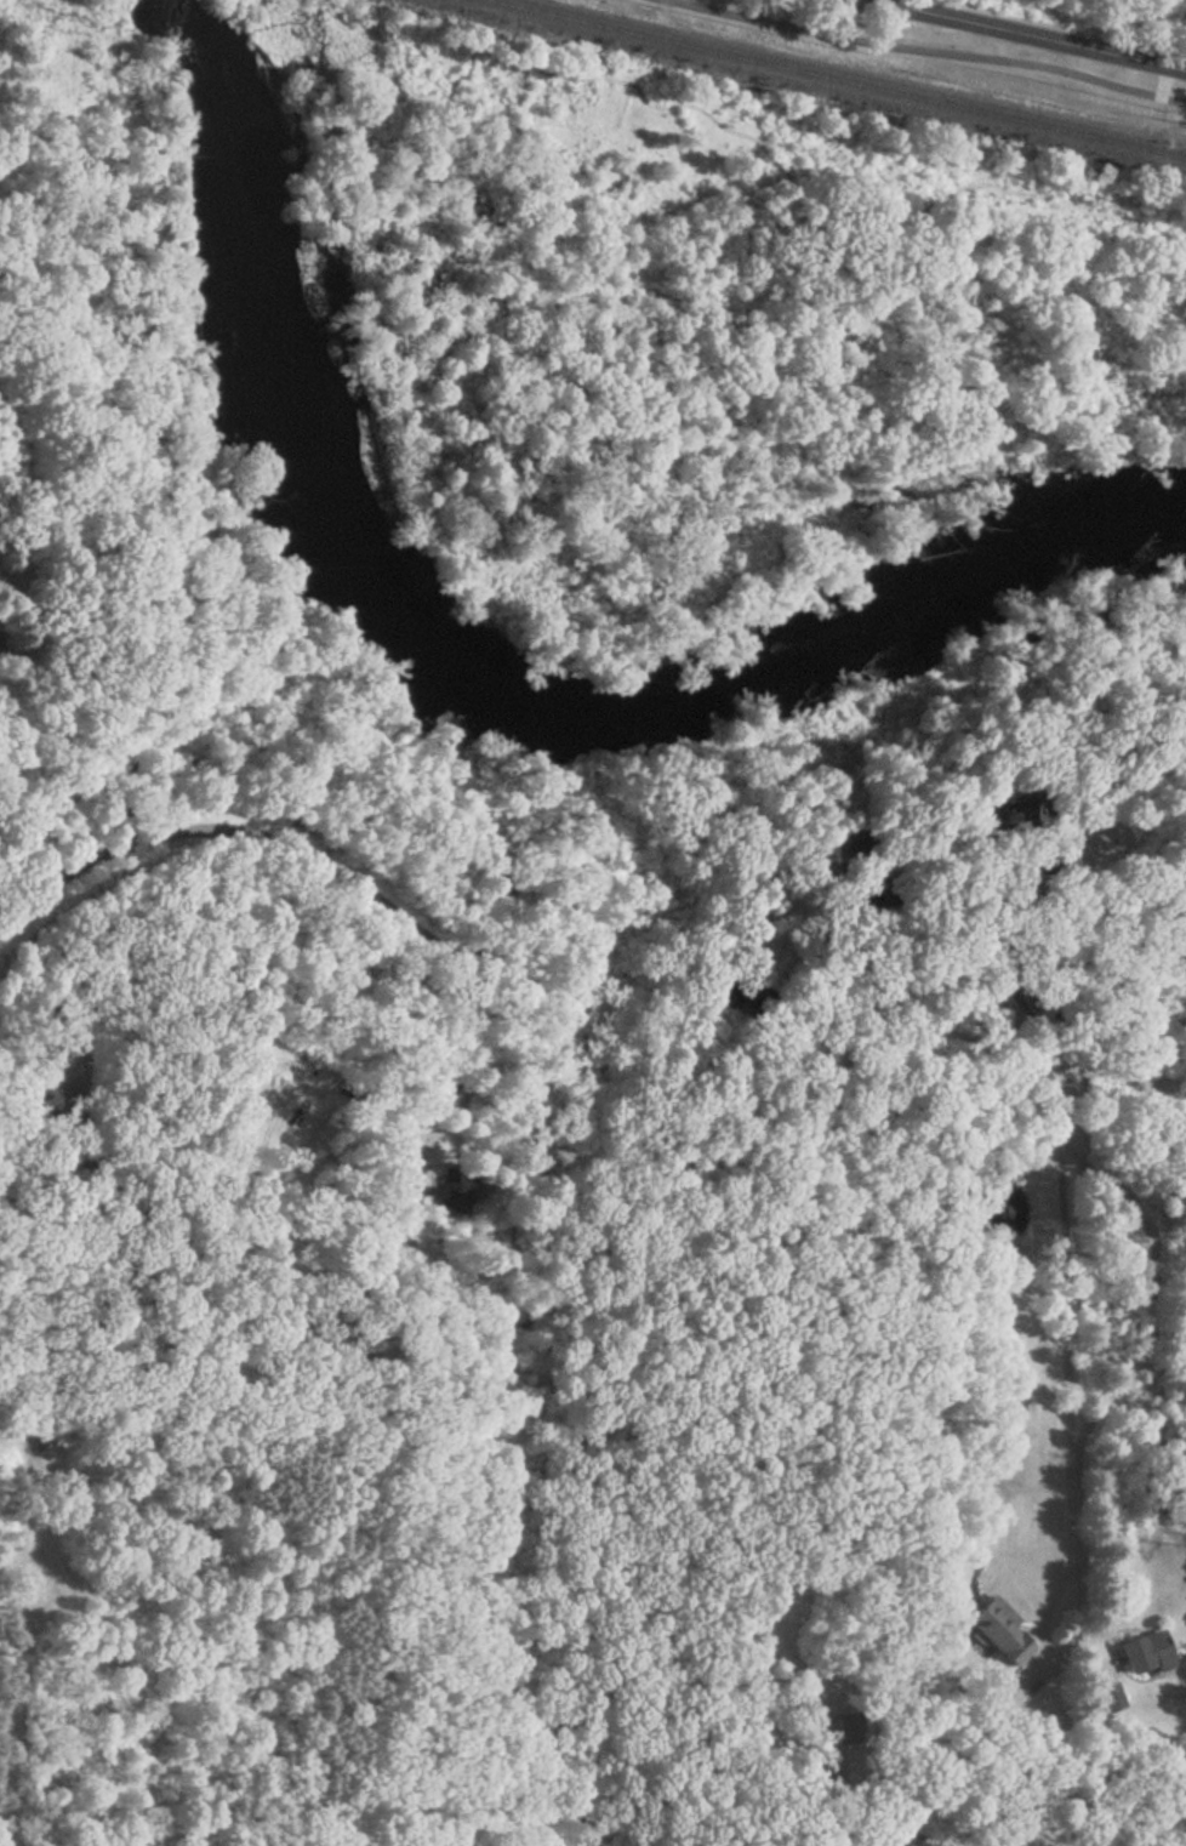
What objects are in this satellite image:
road: (1026, 38)
road: (931, 50)
railway: (831, 79)
road: (1154, 115)
road: (438, 159)
road: (1005, 192)
river: (471, 695)
road: (240, 831)
building: (856, 861)
building: (504, 885)
road: (973, 915)
building: (742, 992)
road: (877, 1012)
road: (492, 1044)
road: (1127, 1076)
building: (300, 1113)
building: (458, 1178)
road: (1153, 1291)
road: (1064, 1357)
road: (1083, 1591)
building: (998, 1629)
building: (1144, 1651)
road: (871, 1816)

